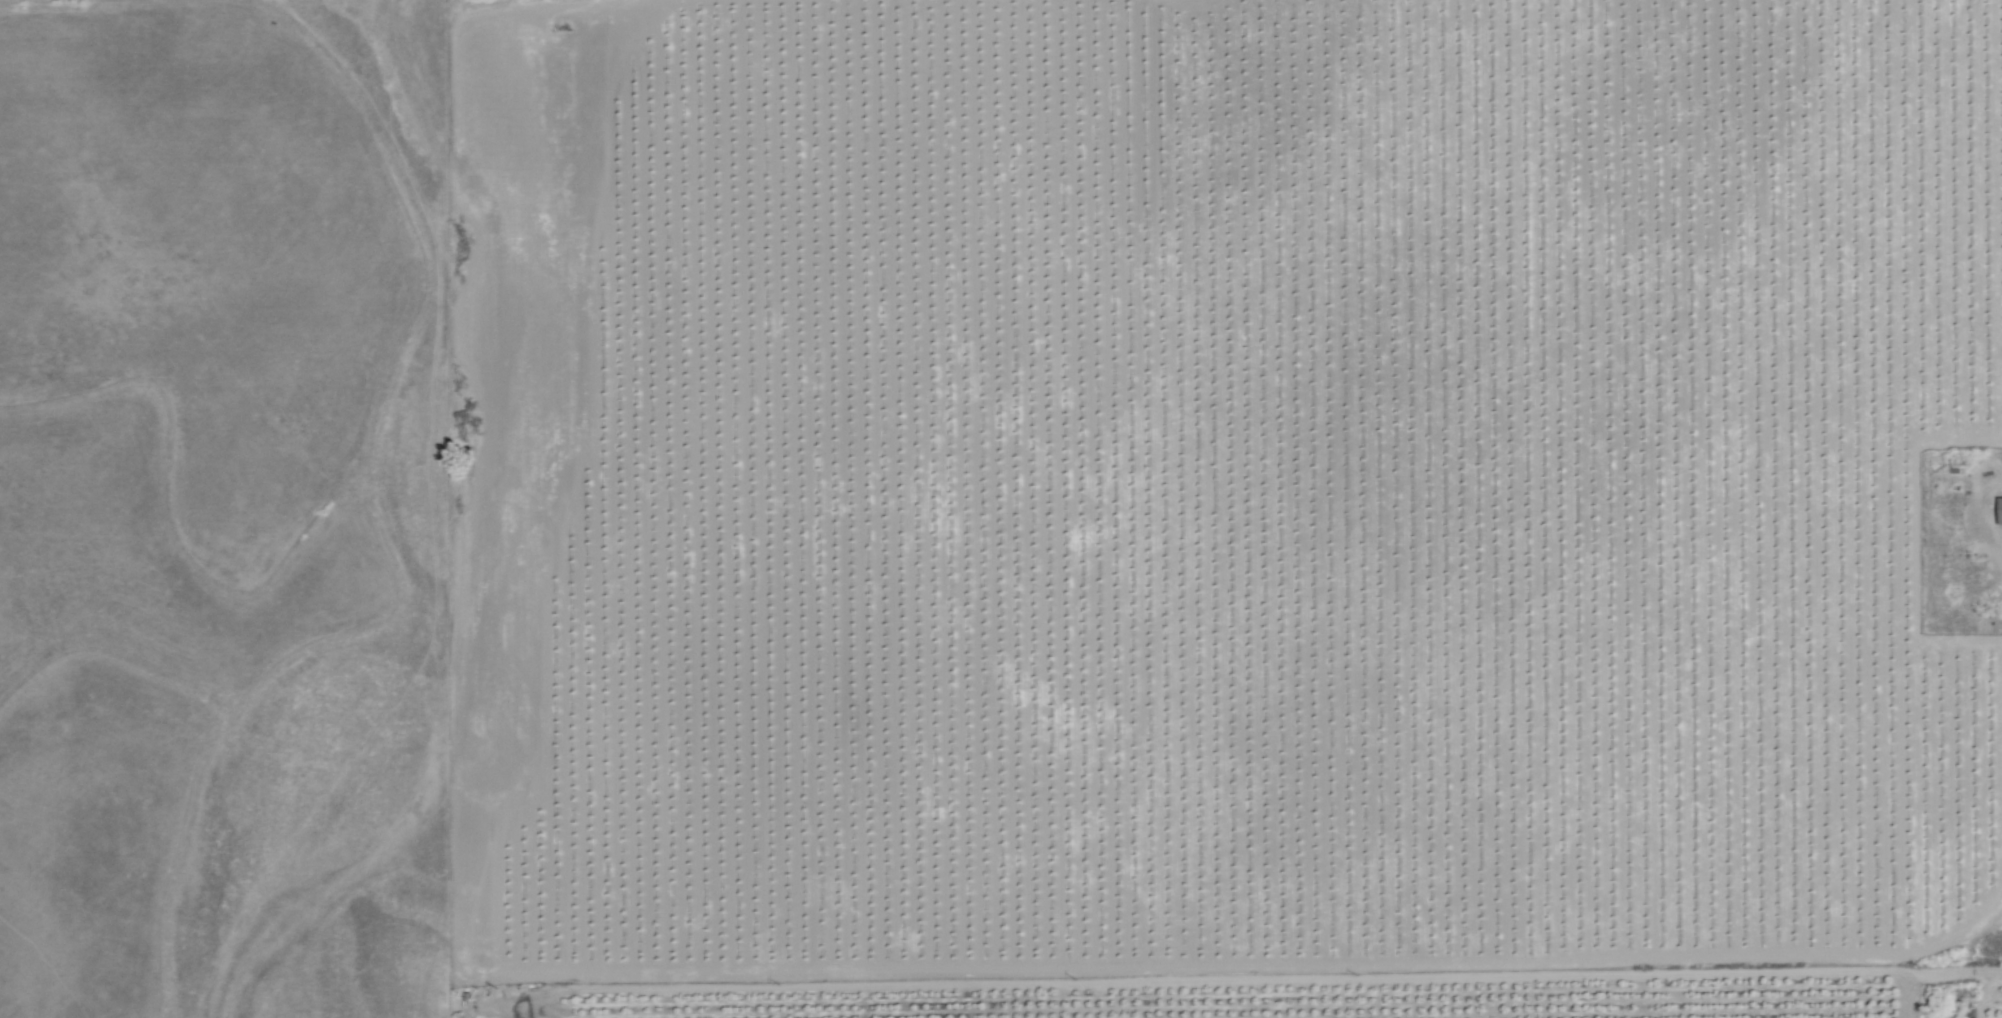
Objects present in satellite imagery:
building: (2001, 511)

